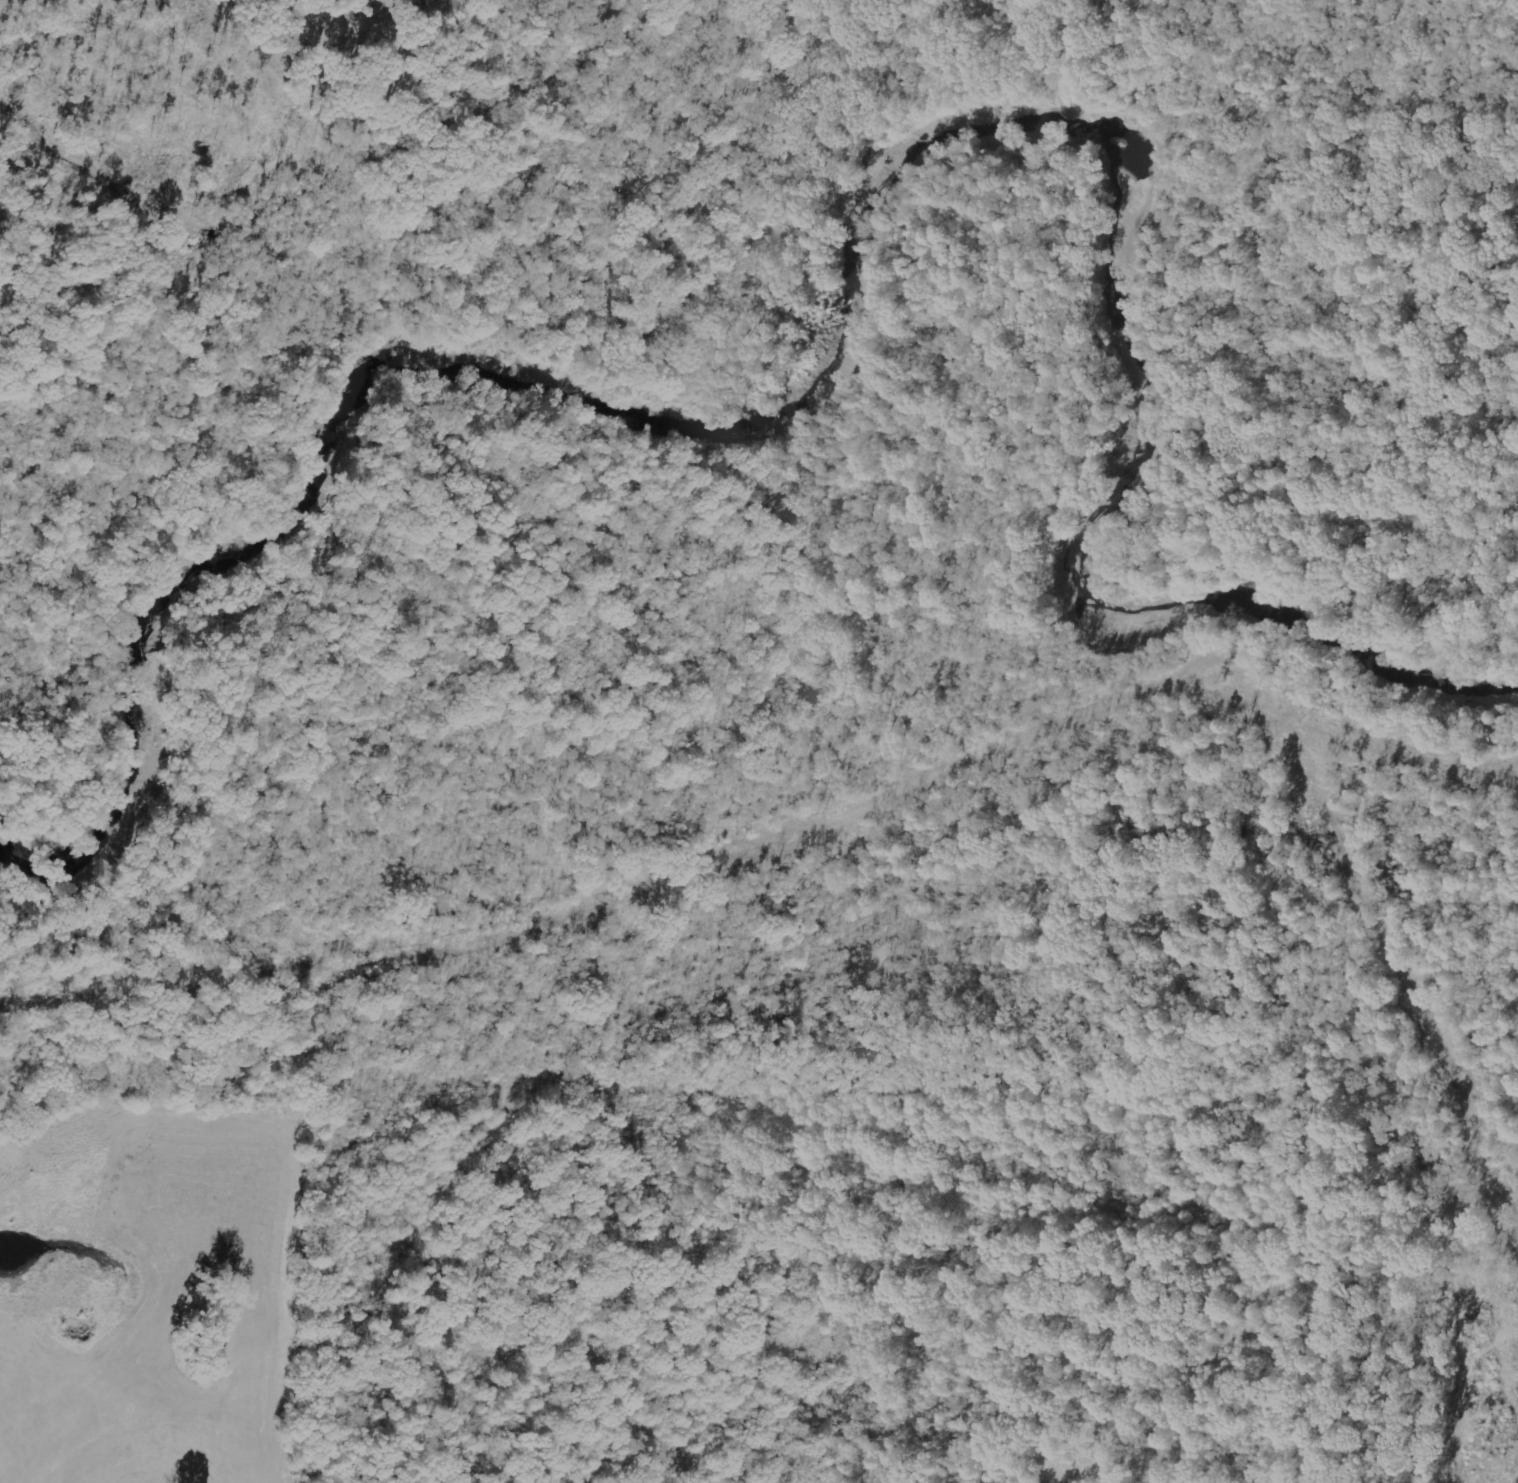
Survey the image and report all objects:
river: (856, 254)

